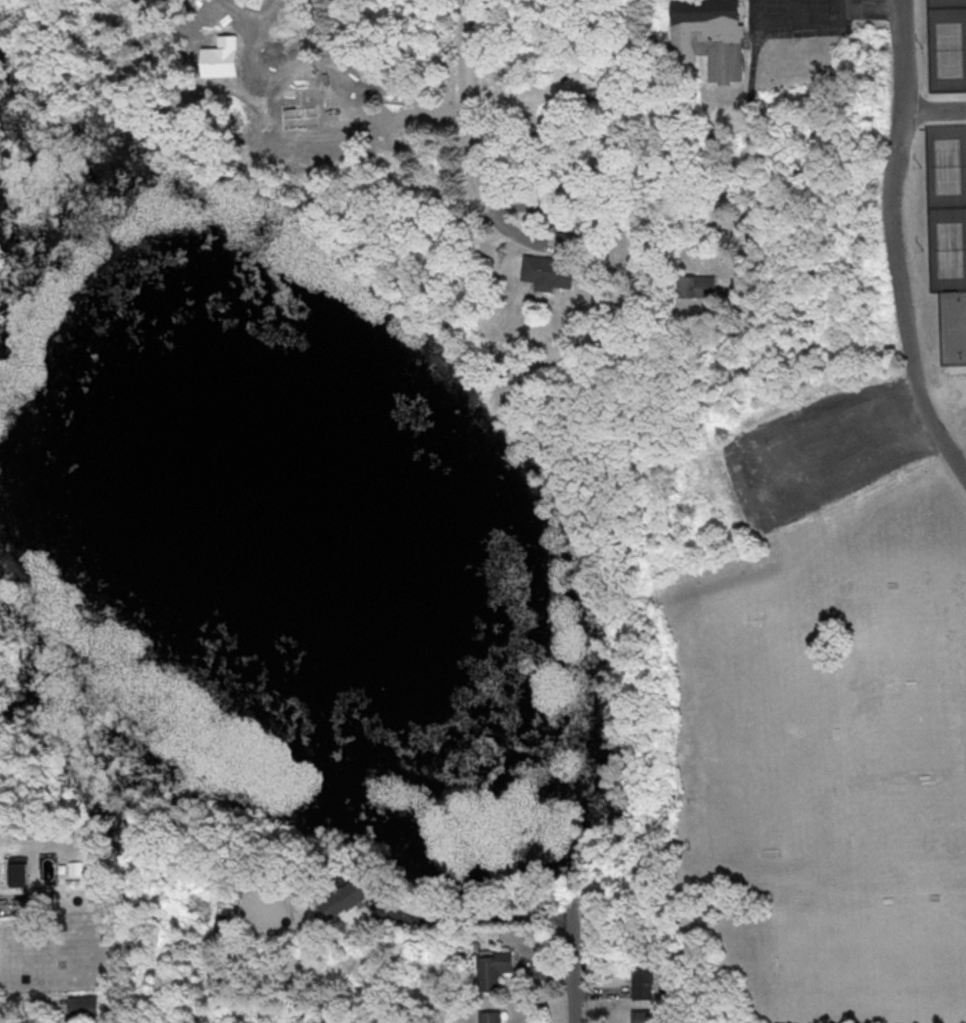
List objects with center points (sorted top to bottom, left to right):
road: (833, 4)
parking lot: (804, 17)
road: (826, 18)
building: (711, 36)
park: (953, 48)
road: (936, 110)
road: (469, 132)
park: (951, 165)
road: (895, 239)
park: (954, 249)
building: (551, 264)
building: (696, 285)
park: (954, 326)
parking lot: (823, 452)
park: (903, 637)
park: (907, 730)
park: (760, 734)
park: (912, 839)
building: (339, 898)
road: (10, 901)
road: (474, 929)
park: (874, 965)
building: (494, 968)
road: (572, 976)
building: (644, 979)
building: (77, 1008)
building: (491, 1016)
building: (643, 1016)

